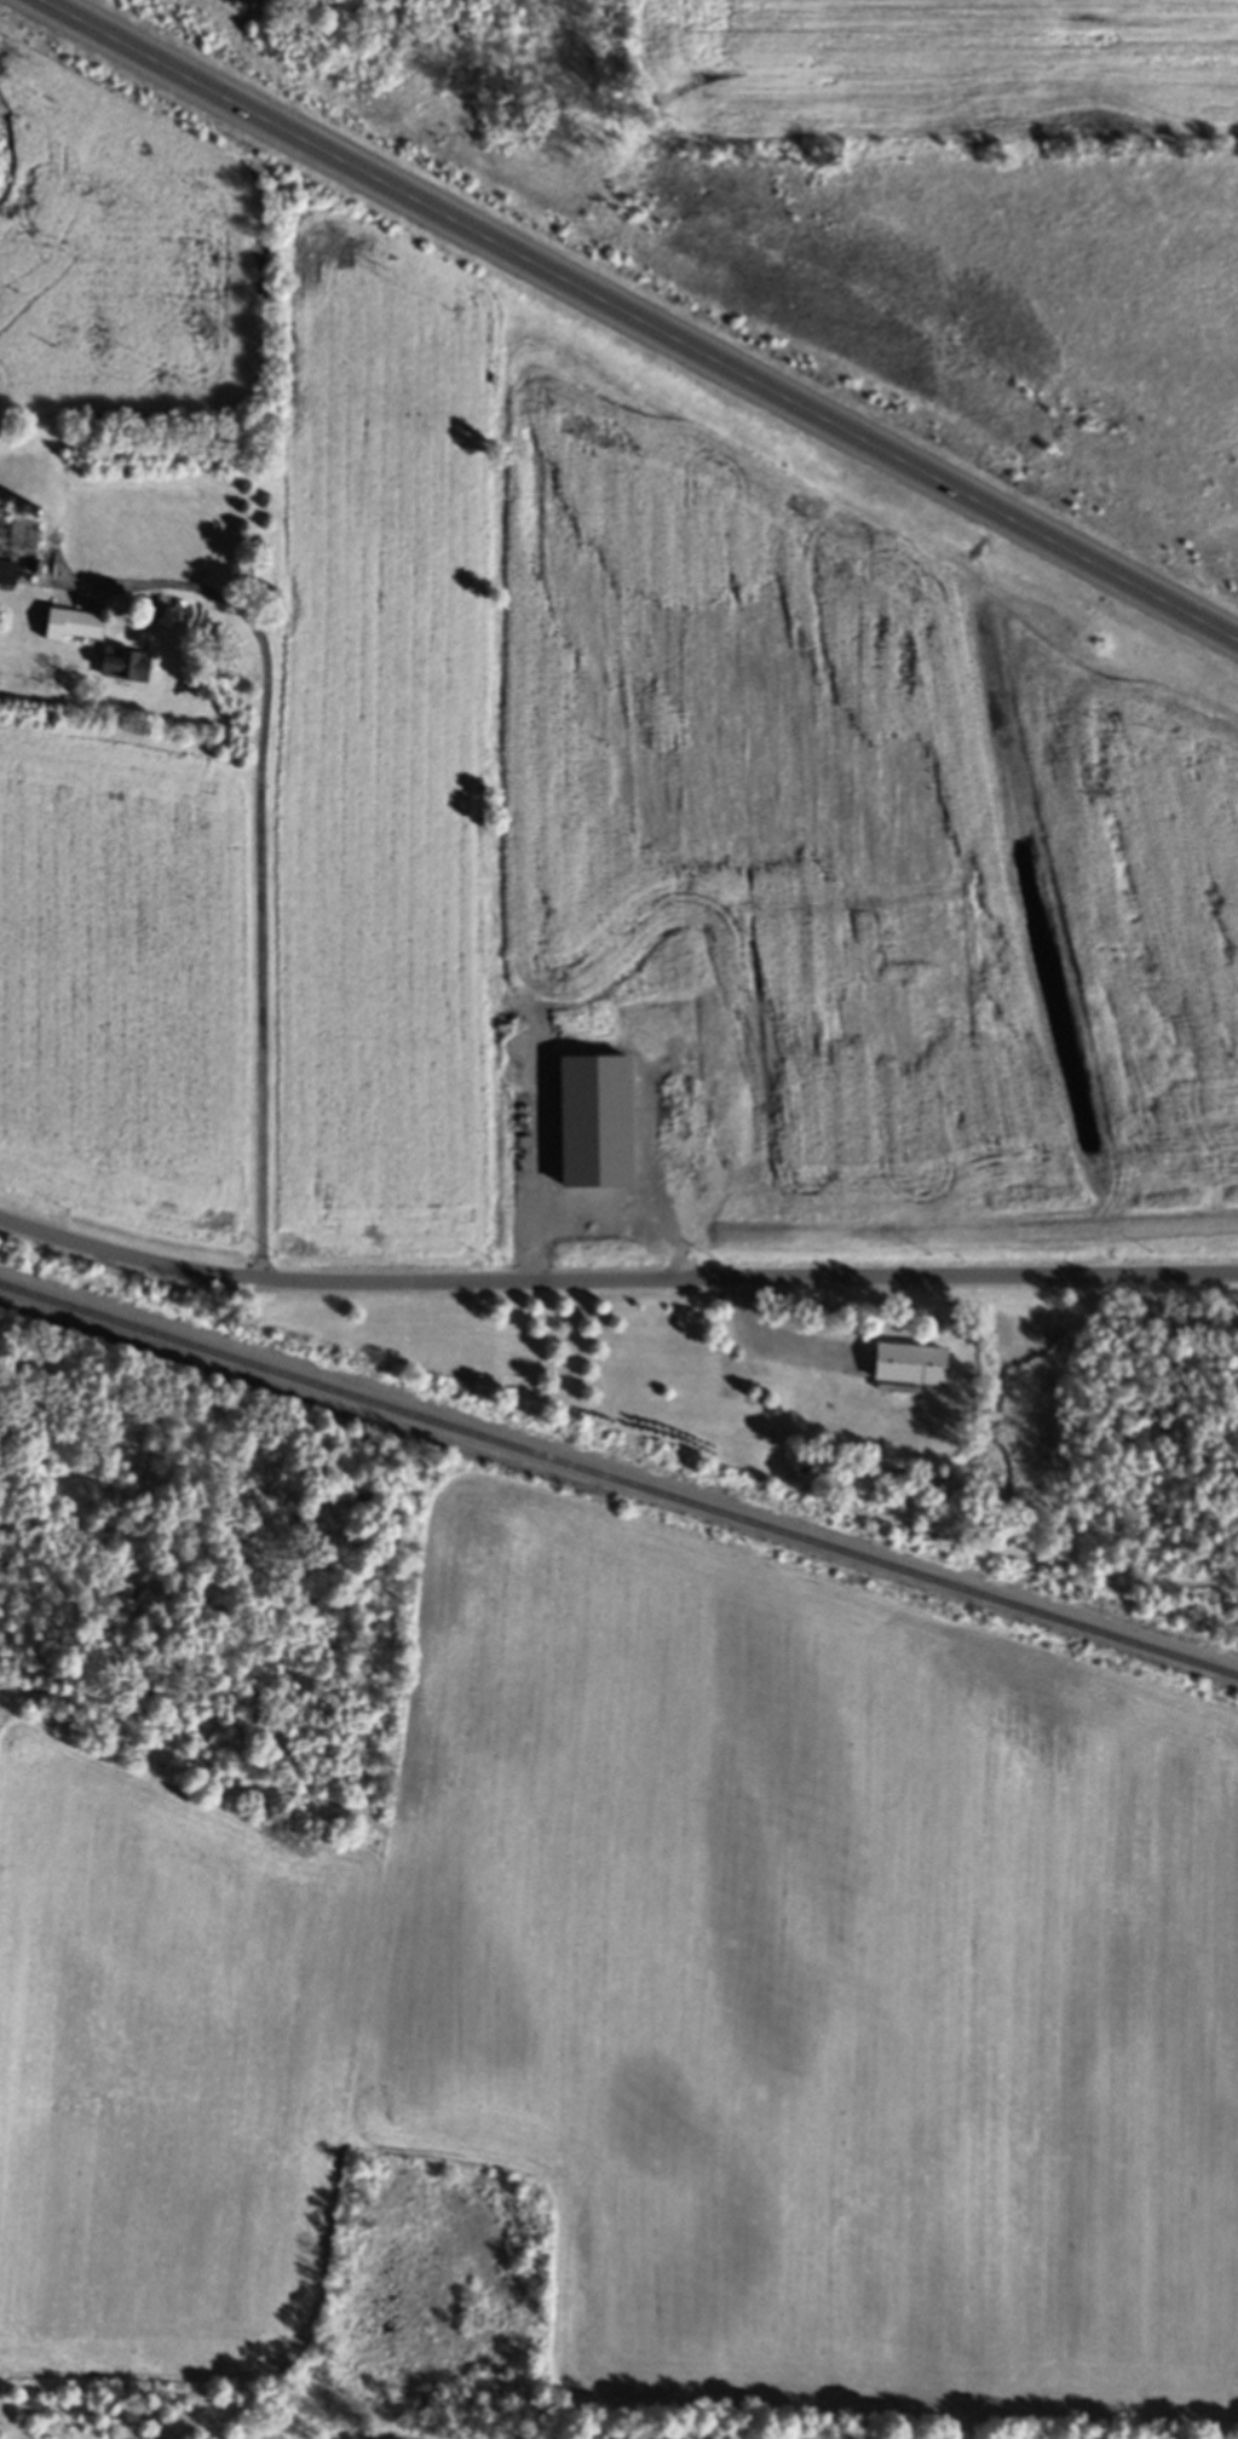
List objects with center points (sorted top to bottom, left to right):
road: (639, 316)
building: (2, 536)
building: (7, 576)
building: (70, 628)
building: (125, 669)
road: (263, 870)
road: (615, 1290)
building: (909, 1367)
railway: (618, 1484)

